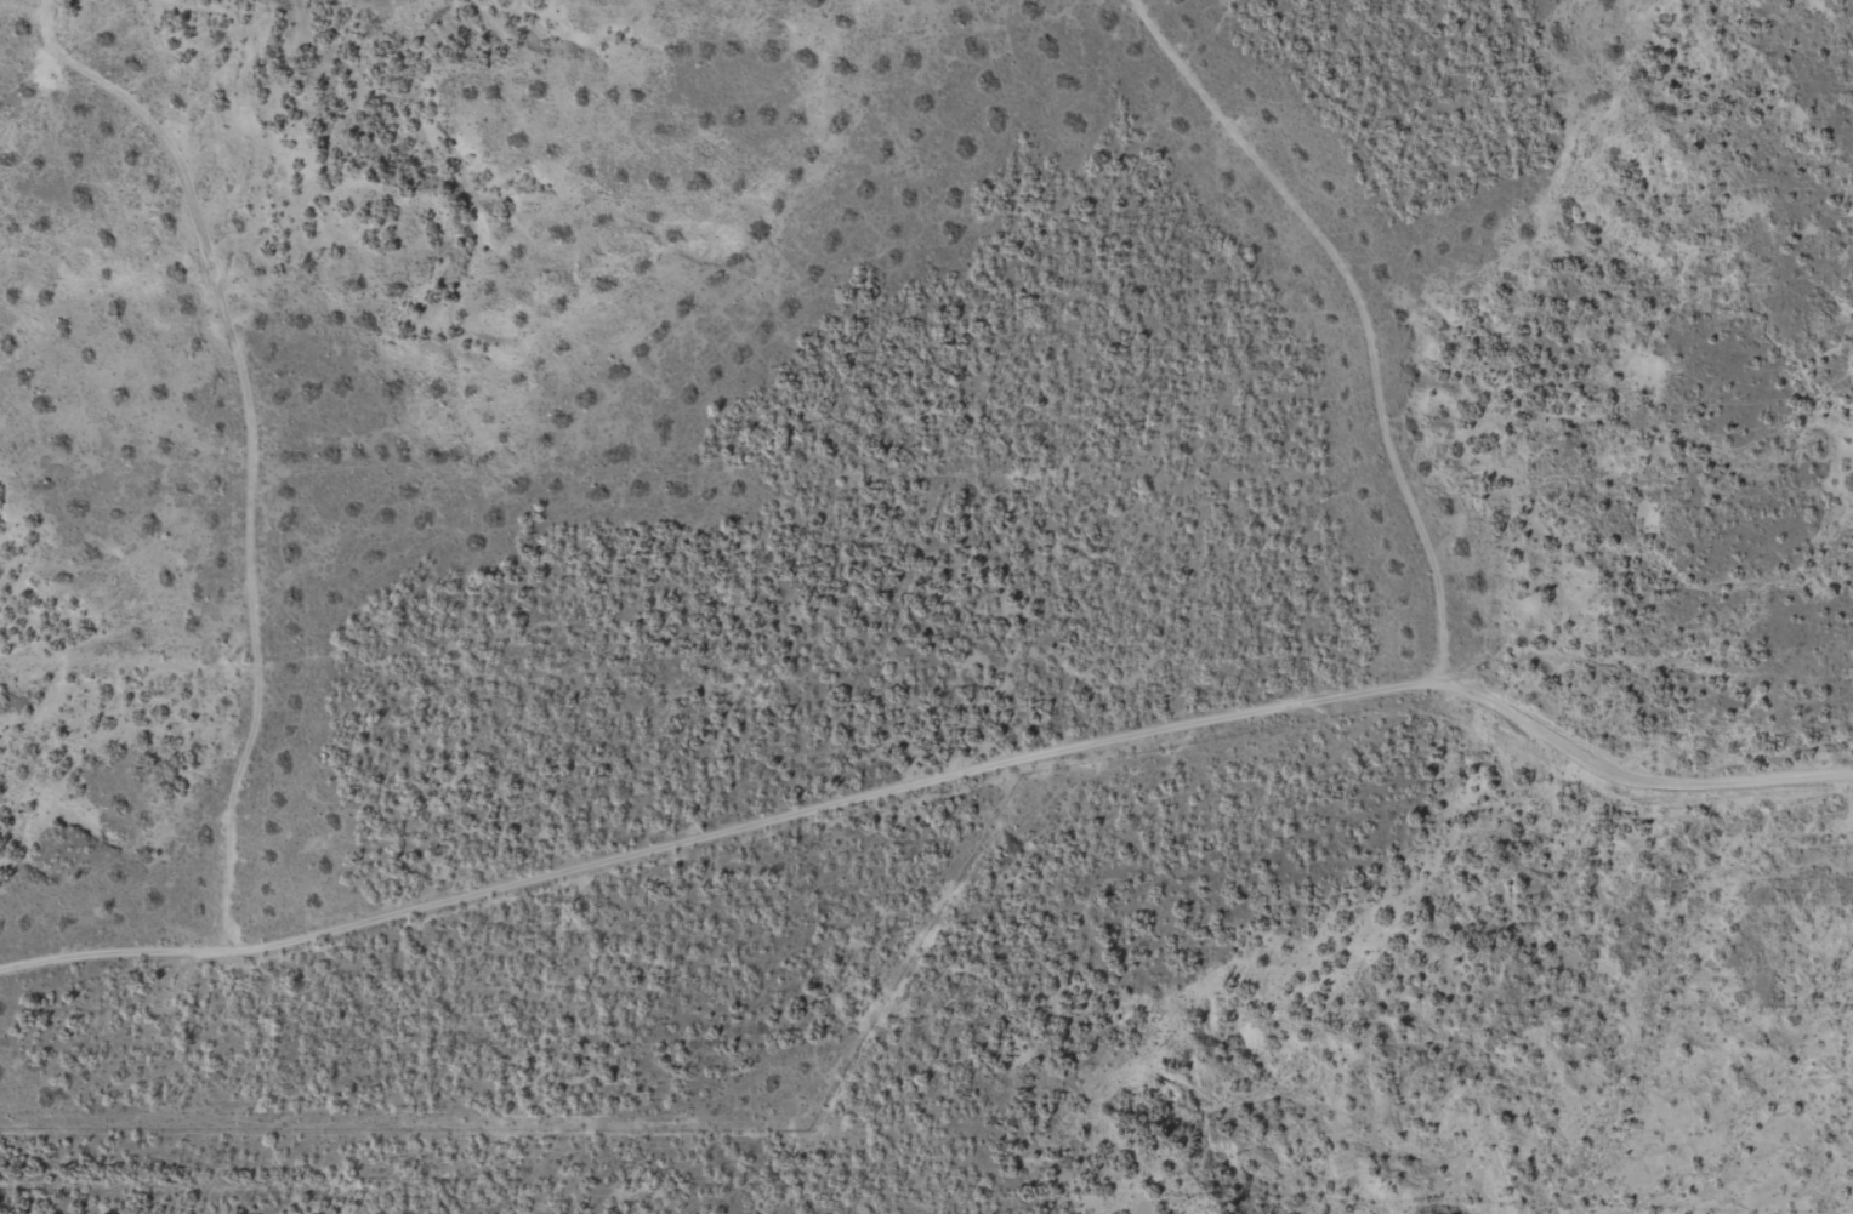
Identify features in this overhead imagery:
road: (1336, 324)
road: (447, 473)
road: (985, 757)

